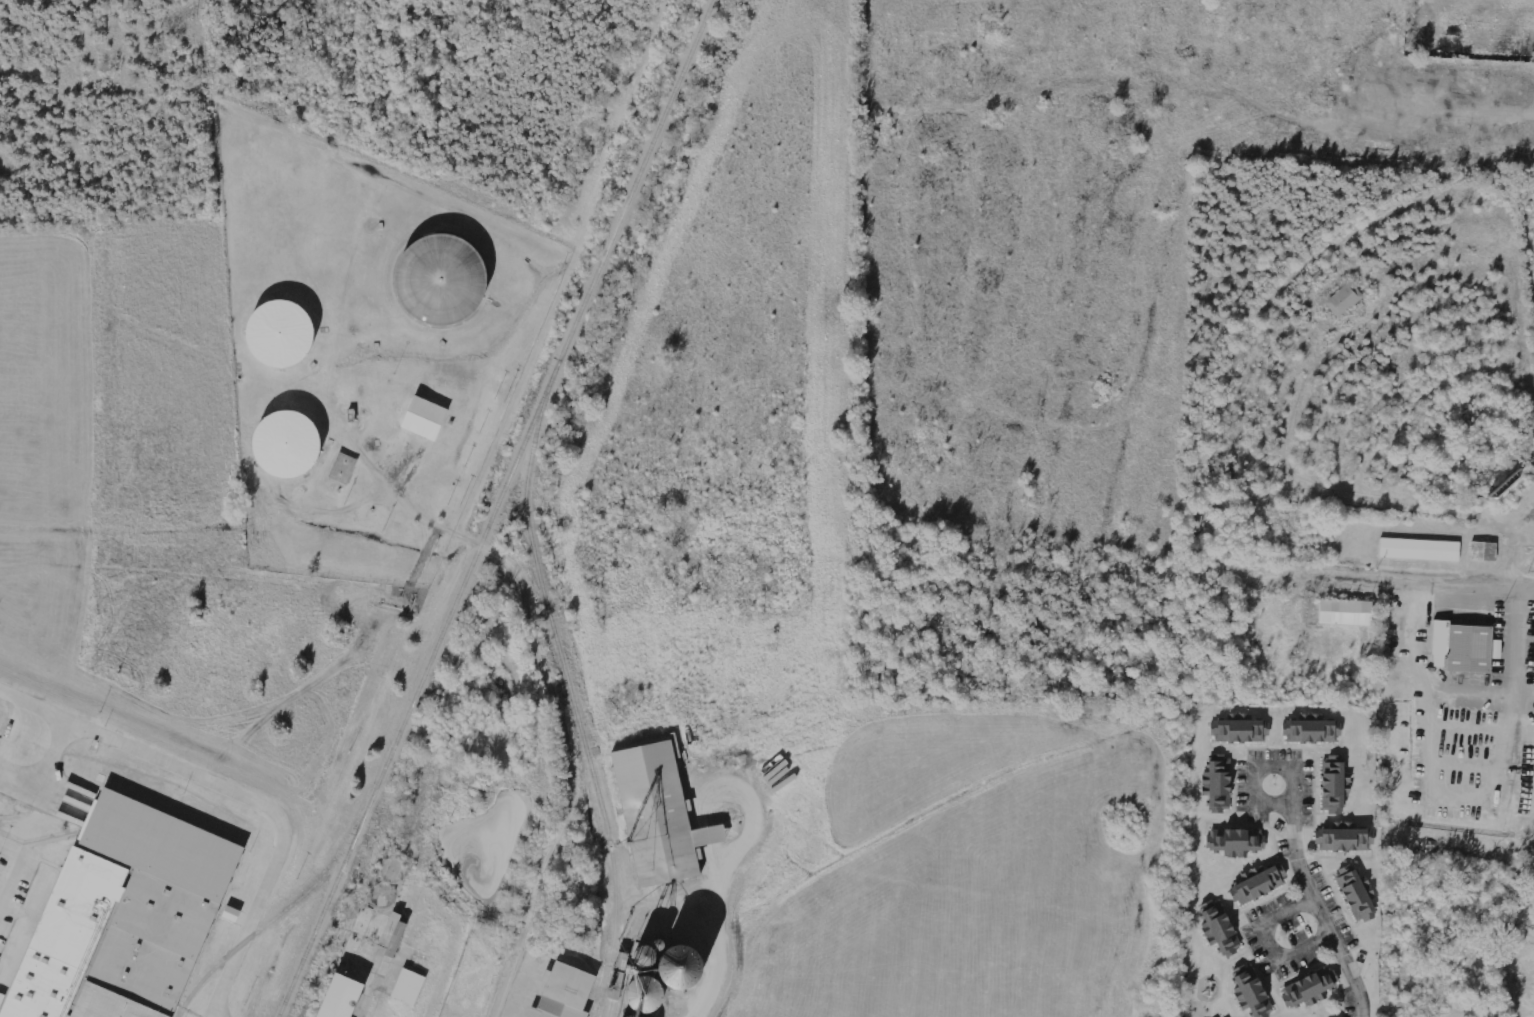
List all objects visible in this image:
building: (437, 279)
building: (1345, 300)
building: (279, 333)
building: (424, 419)
building: (287, 443)
building: (344, 468)
railway: (495, 508)
building: (1420, 550)
building: (1483, 552)
road: (1375, 576)
building: (1343, 612)
building: (1461, 649)
railway: (569, 694)
building: (1238, 732)
building: (1311, 732)
building: (675, 748)
road: (43, 760)
road: (1257, 765)
building: (1332, 786)
building: (1219, 787)
road: (236, 796)
building: (658, 817)
building: (1344, 840)
building: (1234, 842)
building: (1258, 885)
building: (1354, 895)
road: (1319, 910)
building: (231, 914)
railway: (275, 917)
building: (122, 918)
building: (1218, 929)
building: (394, 934)
building: (659, 981)
building: (409, 987)
building: (1307, 990)
building: (1252, 992)
building: (565, 993)
building: (338, 996)
building: (644, 1016)

